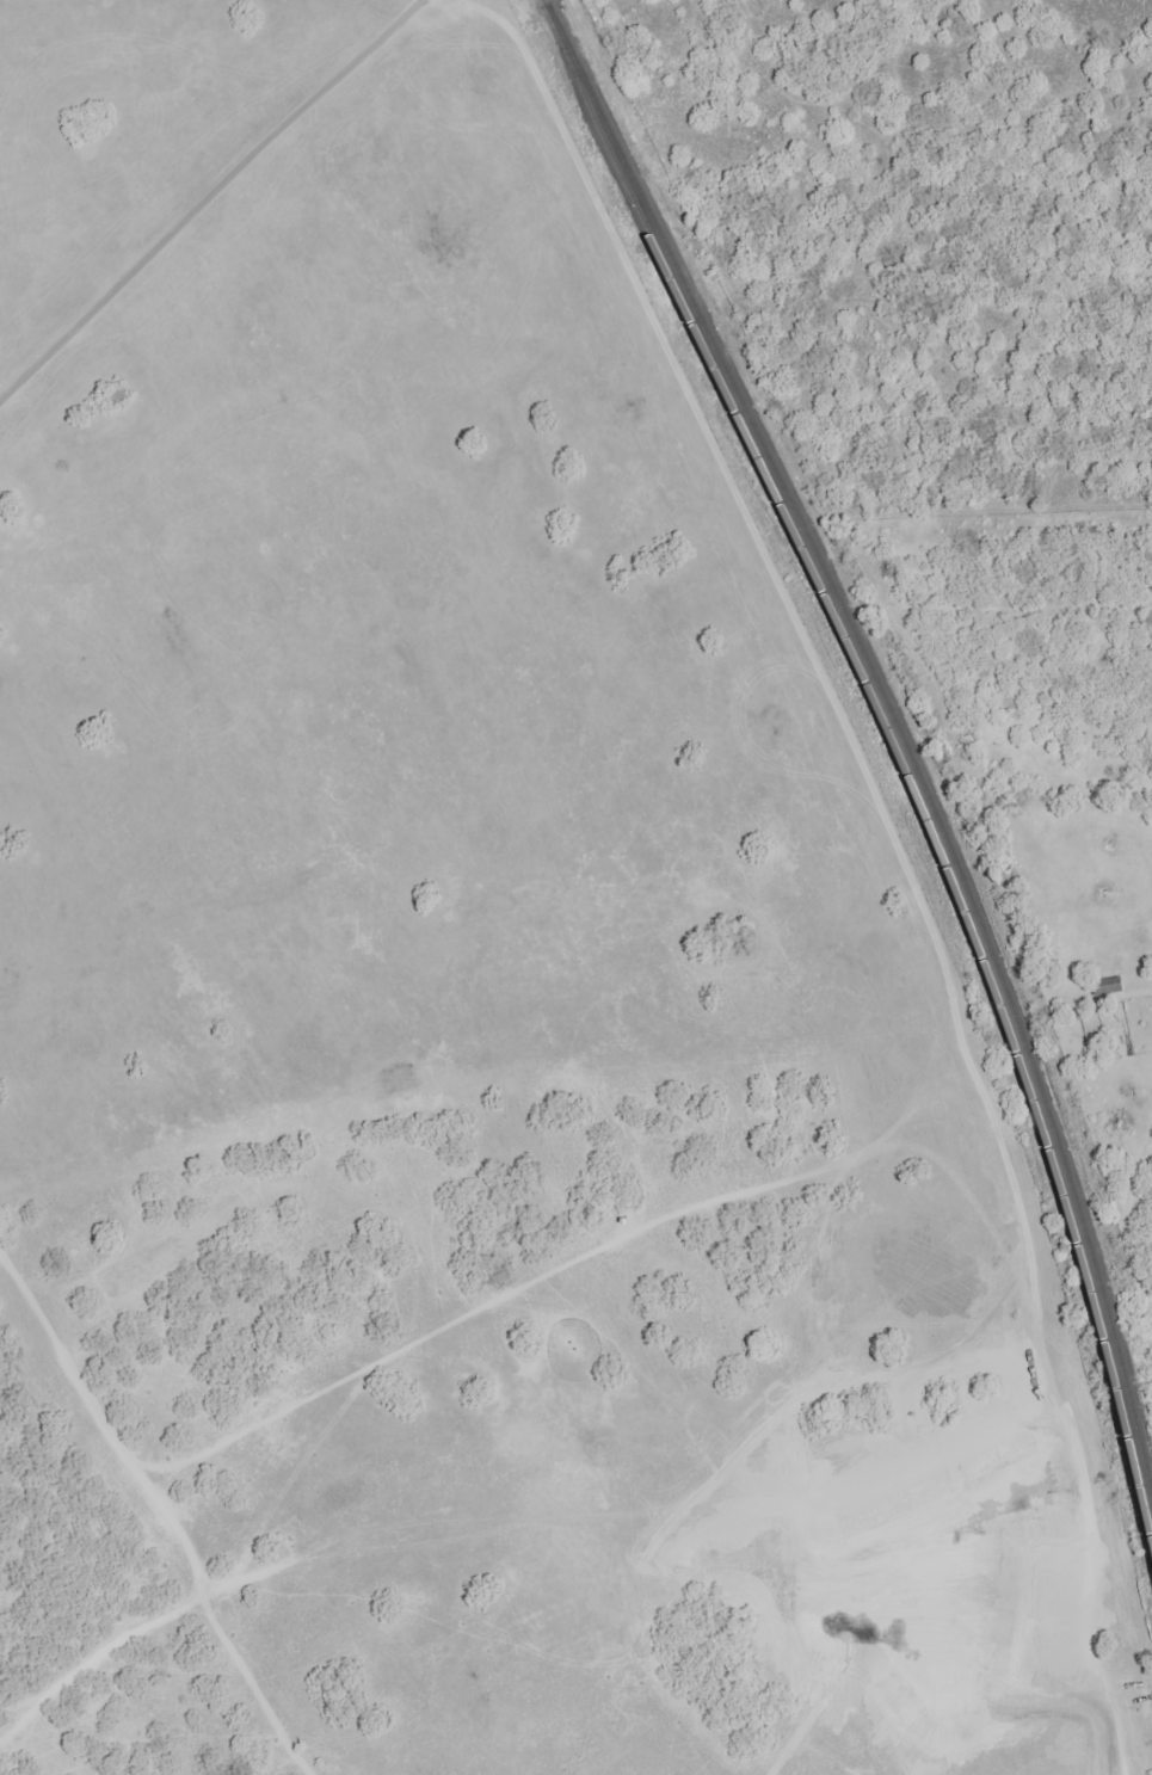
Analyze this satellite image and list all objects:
road: (239, 73)
road: (216, 205)
railway: (893, 714)
railway: (904, 762)

